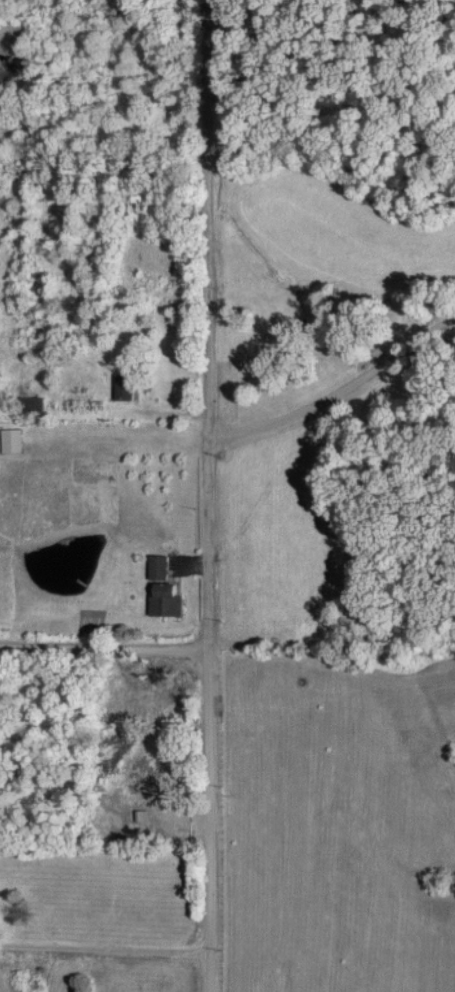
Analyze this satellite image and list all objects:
building: (125, 386)
road: (334, 396)
building: (13, 440)
road: (205, 496)
building: (159, 566)
building: (168, 600)
road: (102, 639)

